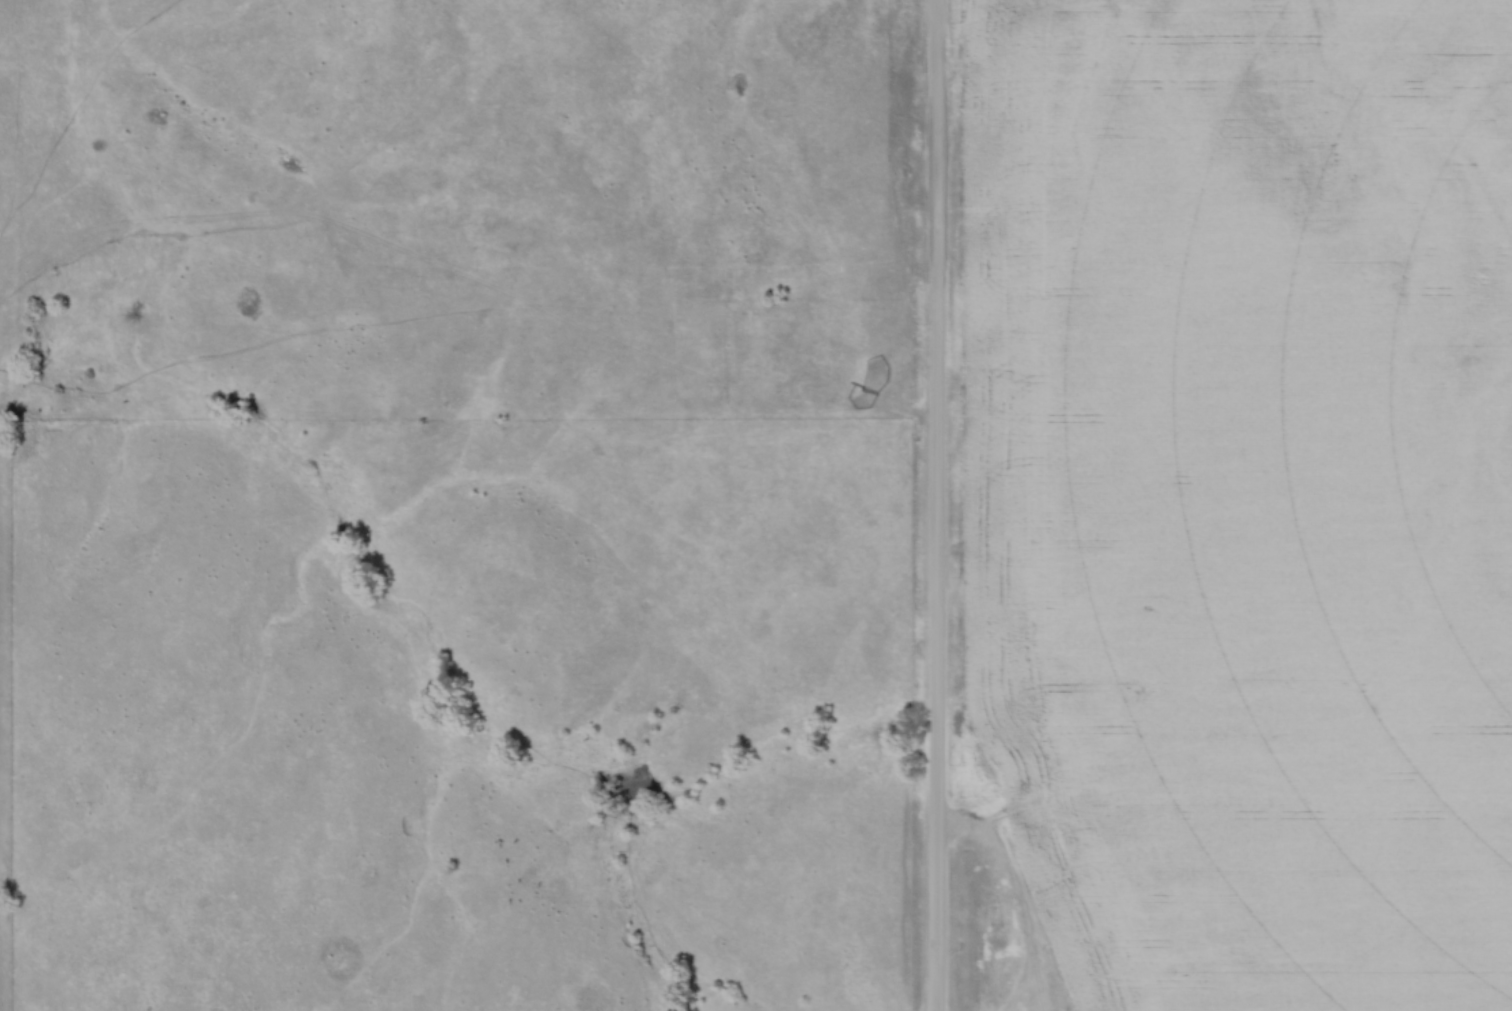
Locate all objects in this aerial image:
road: (939, 505)

